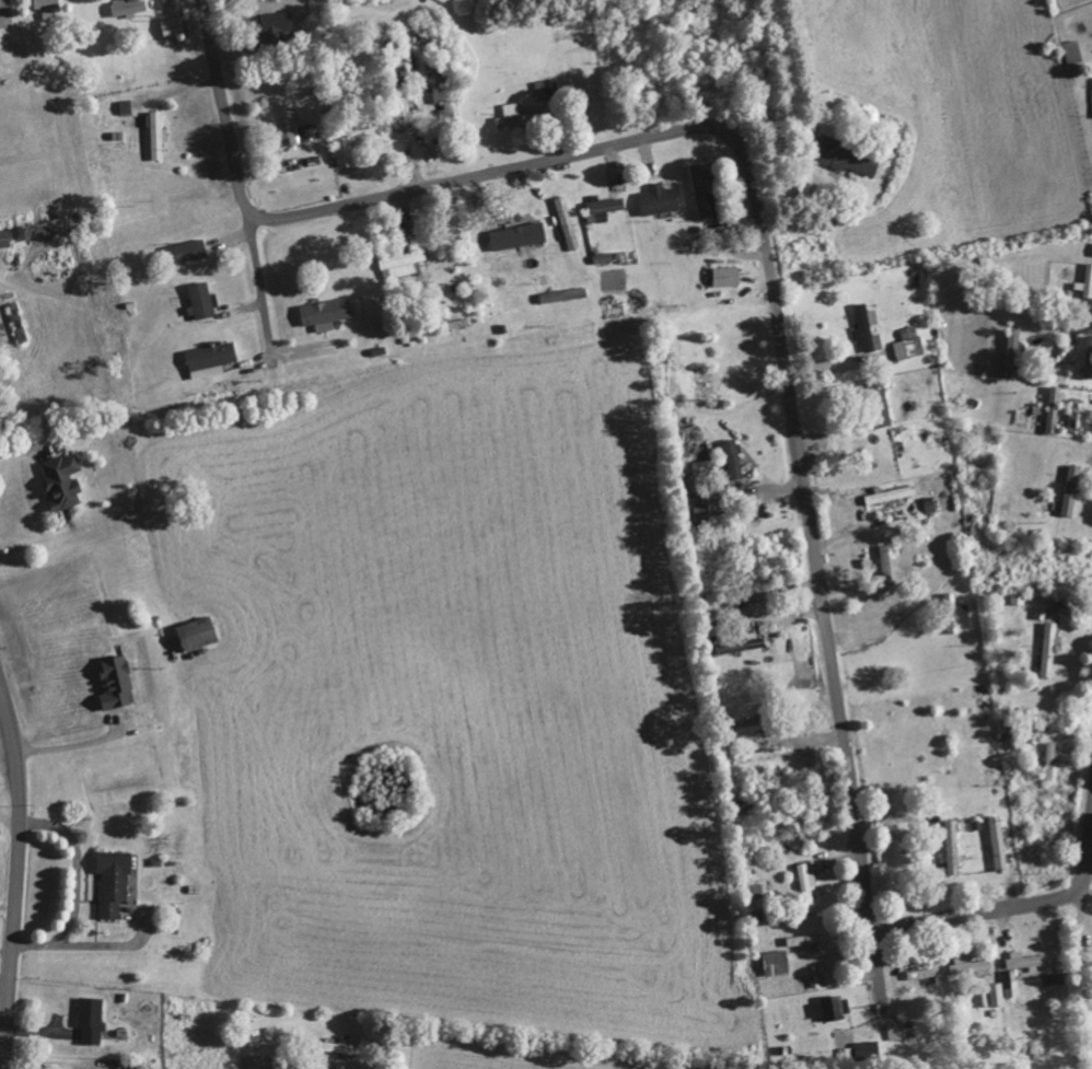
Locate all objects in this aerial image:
building: (47, 4)
building: (129, 7)
building: (277, 25)
building: (174, 27)
building: (1072, 53)
building: (547, 89)
building: (445, 100)
building: (128, 107)
building: (516, 116)
building: (292, 123)
building: (314, 133)
building: (159, 136)
building: (347, 150)
building: (852, 159)
building: (704, 189)
building: (661, 199)
building: (605, 208)
building: (508, 234)
building: (191, 251)
building: (405, 264)
building: (729, 277)
building: (1087, 283)
building: (201, 302)
building: (328, 313)
road: (774, 315)
building: (20, 323)
building: (868, 328)
building: (909, 344)
building: (1014, 353)
building: (214, 356)
building: (1089, 358)
building: (1054, 409)
building: (1074, 416)
building: (735, 460)
building: (66, 481)
building: (1073, 489)
building: (891, 496)
building: (886, 561)
building: (965, 614)
building: (200, 635)
building: (744, 644)
building: (1050, 648)
building: (117, 683)
building: (755, 725)
building: (1050, 762)
building: (998, 843)
building: (954, 847)
road: (18, 872)
building: (806, 880)
building: (115, 882)
road: (7, 928)
building: (808, 940)
building: (1026, 962)
building: (777, 963)
building: (971, 966)
building: (922, 974)
building: (833, 979)
building: (1004, 988)
building: (837, 1009)
building: (93, 1020)
building: (895, 1031)
building: (256, 1038)
building: (345, 1049)
building: (870, 1051)
building: (258, 1062)

